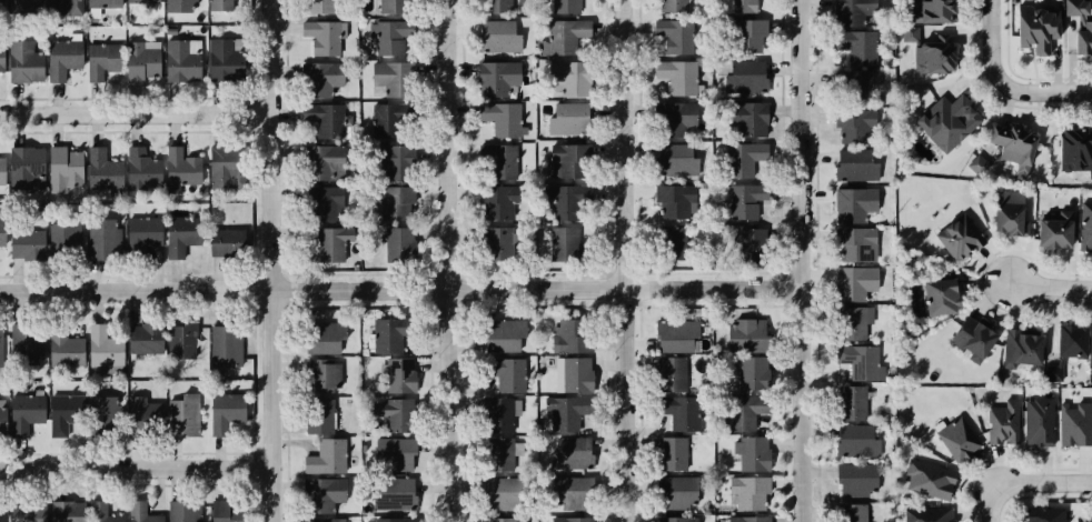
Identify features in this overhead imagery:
building: (147, 1)
building: (1, 2)
building: (28, 2)
building: (109, 3)
building: (182, 4)
building: (220, 4)
building: (68, 6)
building: (671, 6)
building: (742, 6)
building: (327, 7)
building: (394, 7)
building: (494, 7)
building: (566, 7)
building: (934, 10)
building: (848, 11)
building: (909, 14)
building: (1081, 27)
building: (1033, 29)
building: (910, 32)
building: (496, 37)
building: (565, 37)
building: (675, 37)
building: (745, 37)
building: (327, 39)
building: (387, 40)
building: (855, 44)
road: (990, 46)
building: (932, 52)
building: (3, 57)
building: (66, 58)
building: (147, 58)
building: (106, 59)
building: (229, 59)
building: (183, 61)
building: (29, 62)
building: (676, 76)
building: (495, 77)
building: (567, 77)
building: (744, 77)
building: (325, 78)
building: (390, 78)
building: (858, 87)
road: (1042, 92)
road: (139, 114)
building: (504, 118)
building: (567, 118)
building: (671, 118)
building: (746, 118)
building: (326, 119)
building: (386, 120)
building: (945, 121)
building: (851, 127)
building: (1005, 148)
building: (1074, 150)
building: (674, 159)
building: (394, 160)
building: (500, 160)
building: (566, 160)
building: (741, 160)
building: (320, 162)
building: (228, 164)
building: (68, 165)
building: (854, 165)
building: (29, 167)
building: (187, 167)
building: (146, 169)
building: (4, 170)
building: (108, 170)
building: (562, 200)
building: (496, 201)
building: (673, 201)
building: (743, 201)
building: (322, 203)
building: (394, 203)
building: (854, 203)
building: (1007, 213)
building: (1085, 227)
building: (1052, 230)
building: (148, 231)
building: (3, 232)
building: (186, 232)
building: (959, 234)
building: (68, 237)
building: (108, 238)
building: (228, 240)
building: (30, 242)
building: (499, 242)
building: (398, 243)
building: (562, 243)
building: (672, 243)
building: (852, 243)
building: (330, 244)
building: (748, 244)
road: (457, 260)
road: (278, 261)
road: (631, 261)
road: (797, 261)
building: (854, 282)
road: (399, 287)
road: (1050, 287)
building: (936, 294)
building: (851, 322)
building: (746, 334)
building: (384, 335)
building: (502, 335)
building: (569, 335)
building: (675, 335)
building: (150, 338)
building: (321, 338)
building: (183, 339)
building: (971, 339)
building: (1091, 341)
building: (29, 342)
building: (227, 343)
building: (1, 345)
building: (109, 345)
building: (1017, 348)
building: (70, 350)
building: (1062, 350)
building: (861, 360)
building: (751, 372)
building: (397, 373)
building: (505, 373)
building: (671, 373)
building: (576, 374)
building: (319, 375)
building: (851, 403)
building: (226, 409)
building: (67, 411)
building: (105, 411)
building: (139, 411)
building: (564, 411)
building: (679, 411)
building: (30, 412)
building: (738, 413)
building: (186, 414)
building: (319, 415)
building: (399, 415)
building: (496, 415)
building: (6, 419)
building: (1003, 422)
building: (1038, 422)
building: (1072, 422)
building: (956, 438)
building: (855, 441)
building: (391, 453)
building: (671, 453)
building: (496, 454)
building: (752, 454)
building: (325, 455)
building: (569, 455)
road: (138, 468)
building: (927, 476)
building: (855, 478)
road: (1022, 486)
building: (674, 491)
building: (319, 492)
building: (746, 492)
building: (393, 493)
building: (566, 493)
building: (499, 494)
building: (70, 511)
building: (143, 511)
building: (186, 511)
building: (2, 512)
building: (106, 512)
building: (224, 512)
building: (1091, 512)
building: (30, 513)
building: (853, 513)
building: (926, 514)
building: (1044, 516)
building: (1091, 516)
building: (674, 519)
building: (747, 519)
building: (394, 520)
building: (506, 520)
building: (570, 520)
building: (324, 521)

